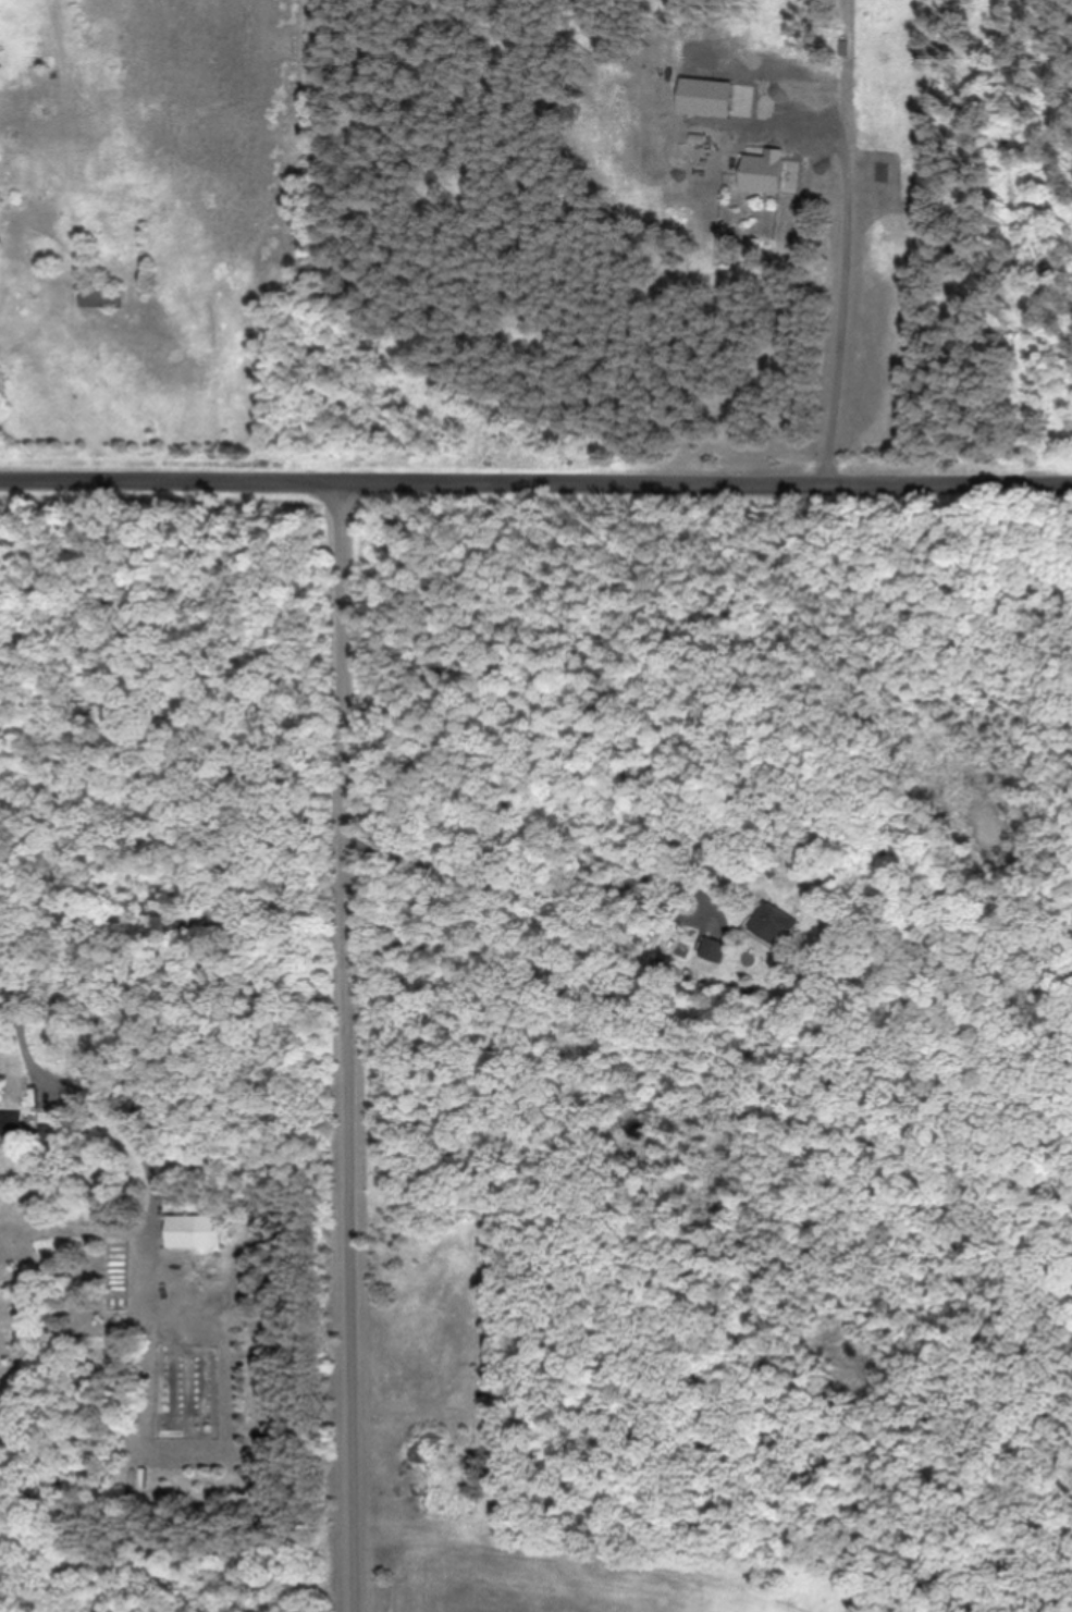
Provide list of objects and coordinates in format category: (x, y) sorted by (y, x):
building: (704, 99)
building: (762, 174)
building: (99, 296)
road: (656, 302)
road: (535, 482)
building: (771, 925)
road: (567, 950)
building: (712, 952)
building: (655, 976)
road: (346, 1046)
building: (10, 1124)
building: (192, 1232)

